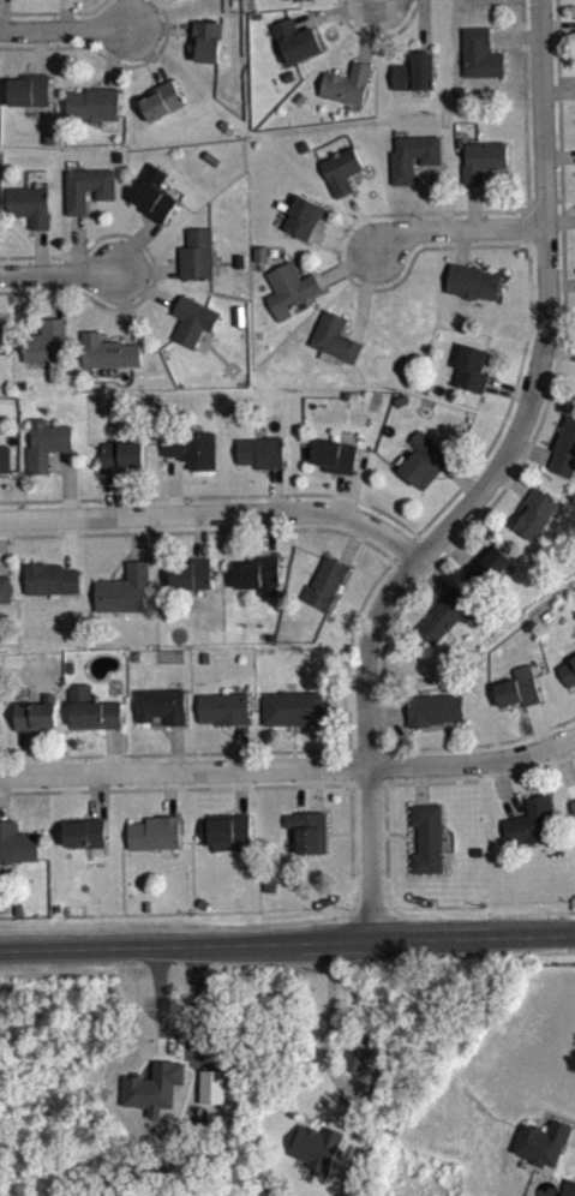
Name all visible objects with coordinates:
building: (12, 0)
building: (32, 0)
building: (187, 1)
building: (299, 6)
road: (61, 32)
building: (208, 55)
building: (297, 55)
building: (481, 68)
building: (415, 86)
building: (348, 98)
building: (29, 104)
building: (161, 115)
building: (94, 121)
building: (414, 171)
building: (484, 174)
building: (342, 185)
building: (89, 202)
building: (154, 209)
building: (30, 220)
road: (457, 228)
building: (304, 232)
building: (198, 269)
road: (56, 270)
building: (474, 297)
building: (292, 305)
building: (193, 335)
building: (2, 347)
building: (335, 353)
building: (47, 357)
building: (109, 366)
building: (472, 383)
building: (47, 459)
building: (192, 464)
building: (262, 466)
building: (565, 466)
building: (336, 470)
building: (122, 471)
building: (5, 473)
building: (424, 474)
road: (485, 480)
road: (214, 513)
building: (537, 527)
building: (490, 581)
building: (191, 588)
building: (259, 588)
building: (50, 593)
building: (327, 597)
building: (6, 604)
building: (124, 604)
building: (447, 629)
building: (568, 686)
building: (519, 702)
building: (162, 719)
building: (92, 723)
building: (224, 723)
building: (293, 723)
building: (436, 724)
building: (35, 730)
road: (288, 770)
building: (573, 819)
building: (532, 837)
building: (226, 845)
building: (309, 845)
building: (85, 847)
building: (155, 848)
building: (429, 853)
building: (17, 859)
road: (287, 937)
road: (328, 1031)
building: (357, 1074)
building: (155, 1101)
building: (212, 1101)
building: (543, 1158)
building: (317, 1162)
building: (569, 1195)

